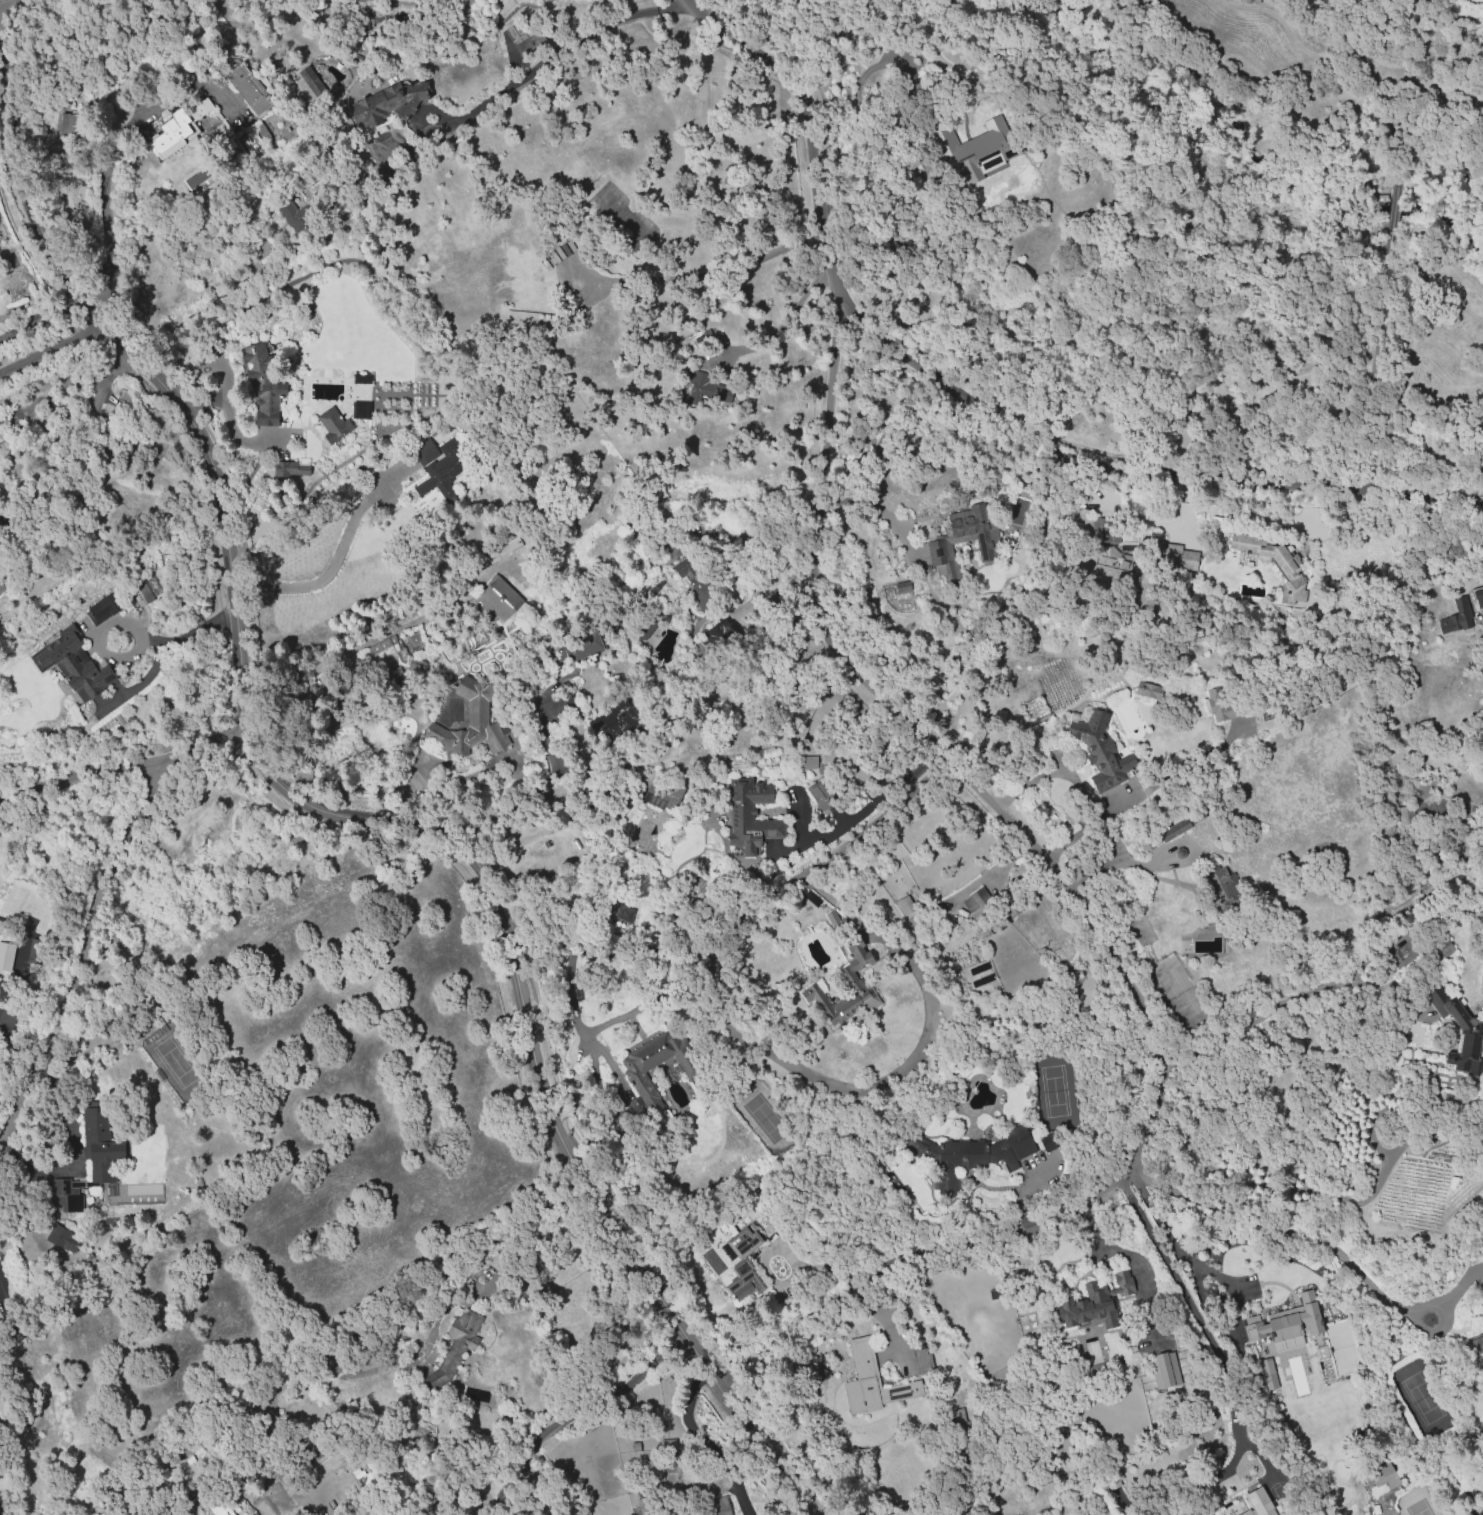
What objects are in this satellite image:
road: (6, 6)
road: (4, 17)
building: (530, 42)
road: (565, 44)
building: (312, 81)
building: (250, 87)
building: (387, 105)
building: (181, 130)
building: (994, 144)
road: (105, 203)
building: (294, 217)
road: (27, 235)
road: (702, 275)
building: (512, 280)
road: (42, 320)
road: (784, 320)
road: (50, 347)
building: (1429, 368)
building: (264, 383)
building: (707, 387)
road: (977, 401)
building: (336, 429)
building: (427, 451)
building: (291, 467)
building: (447, 468)
road: (876, 507)
building: (1105, 529)
building: (991, 552)
building: (1266, 555)
building: (1179, 556)
building: (684, 568)
road: (323, 578)
building: (902, 586)
building: (140, 591)
building: (1478, 598)
building: (498, 602)
building: (103, 609)
building: (1455, 618)
building: (644, 629)
building: (719, 634)
road: (172, 639)
building: (578, 647)
building: (384, 652)
building: (74, 664)
building: (1149, 690)
building: (1222, 703)
building: (613, 721)
building: (473, 724)
building: (1102, 751)
building: (808, 763)
road: (125, 766)
road: (1077, 783)
building: (676, 794)
building: (823, 796)
building: (653, 798)
road: (322, 802)
road: (872, 802)
building: (1405, 814)
building: (750, 815)
building: (1174, 829)
road: (1152, 858)
building: (1229, 882)
building: (978, 904)
building: (908, 906)
building: (622, 912)
building: (837, 923)
road: (11, 924)
road: (1093, 924)
building: (1442, 949)
road: (83, 950)
building: (858, 953)
building: (1404, 953)
building: (6, 955)
road: (570, 965)
building: (847, 1007)
building: (3, 1011)
road: (1255, 1020)
building: (0, 1029)
building: (1413, 1031)
building: (1460, 1035)
building: (657, 1064)
road: (892, 1072)
building: (1048, 1143)
building: (100, 1146)
building: (979, 1158)
building: (63, 1188)
road: (1289, 1229)
building: (63, 1238)
road: (1171, 1240)
building: (743, 1268)
building: (1482, 1290)
building: (1482, 1294)
building: (1097, 1304)
road: (1199, 1318)
building: (1286, 1320)
road: (347, 1338)
building: (1482, 1339)
building: (456, 1349)
building: (1165, 1369)
building: (1267, 1373)
building: (883, 1378)
road: (578, 1411)
road: (698, 1438)
building: (1383, 1474)
building: (1258, 1502)
building: (220, 1507)
building: (719, 1510)
building: (1206, 1513)

